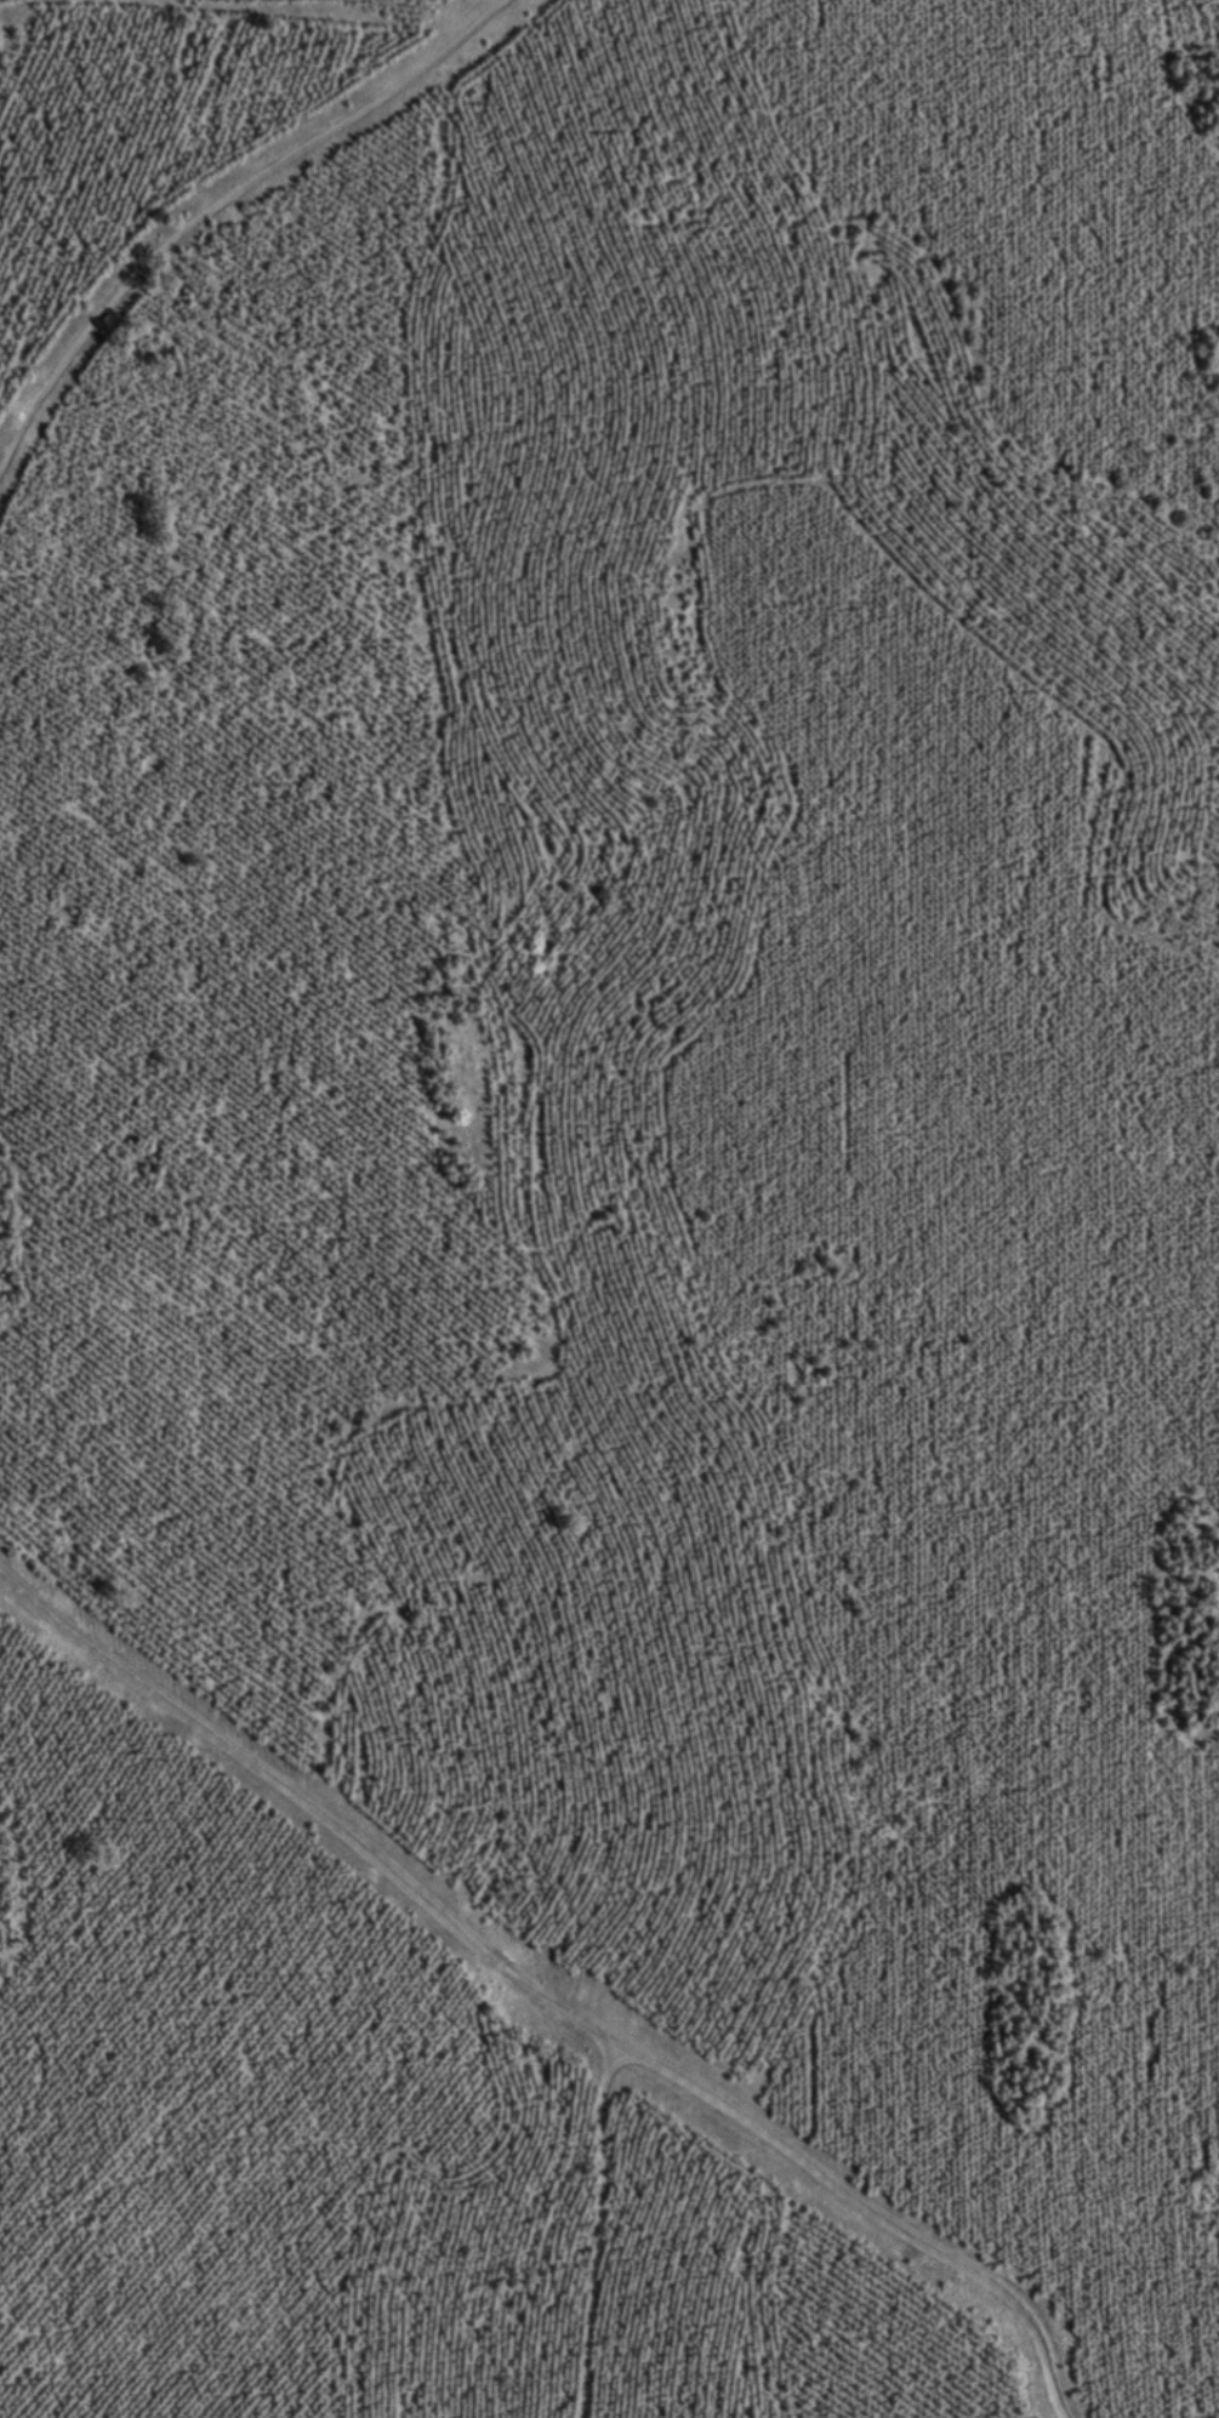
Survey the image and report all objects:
road: (217, 205)
road: (541, 2002)

